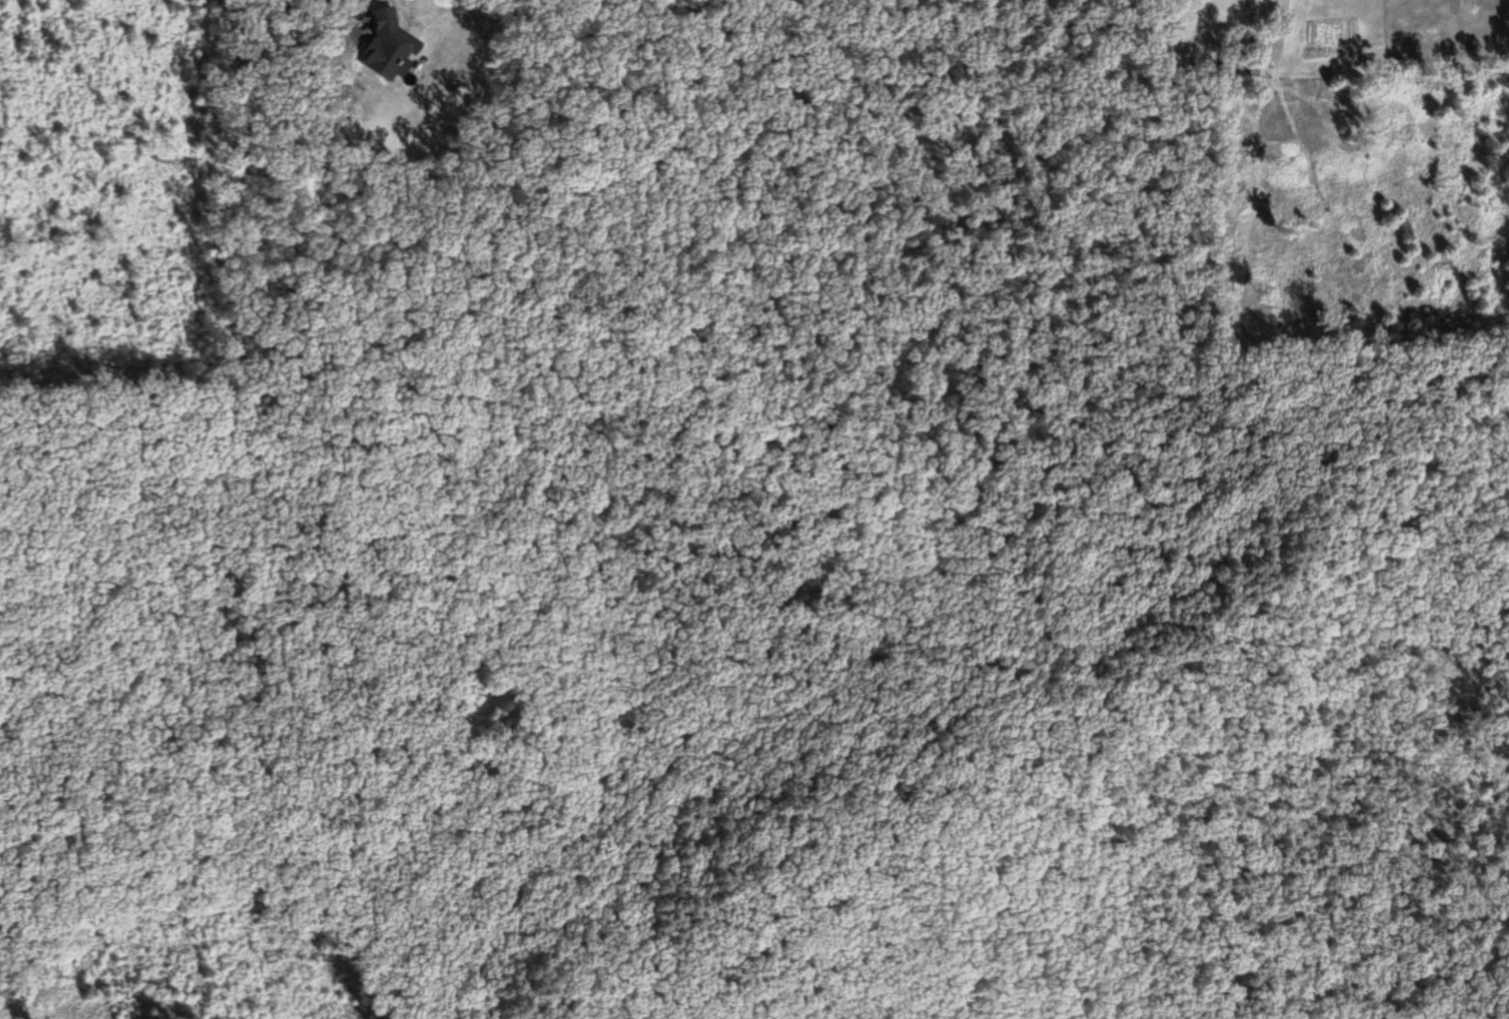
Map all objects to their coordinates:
road: (1281, 47)
building: (1231, 65)
building: (1262, 67)

